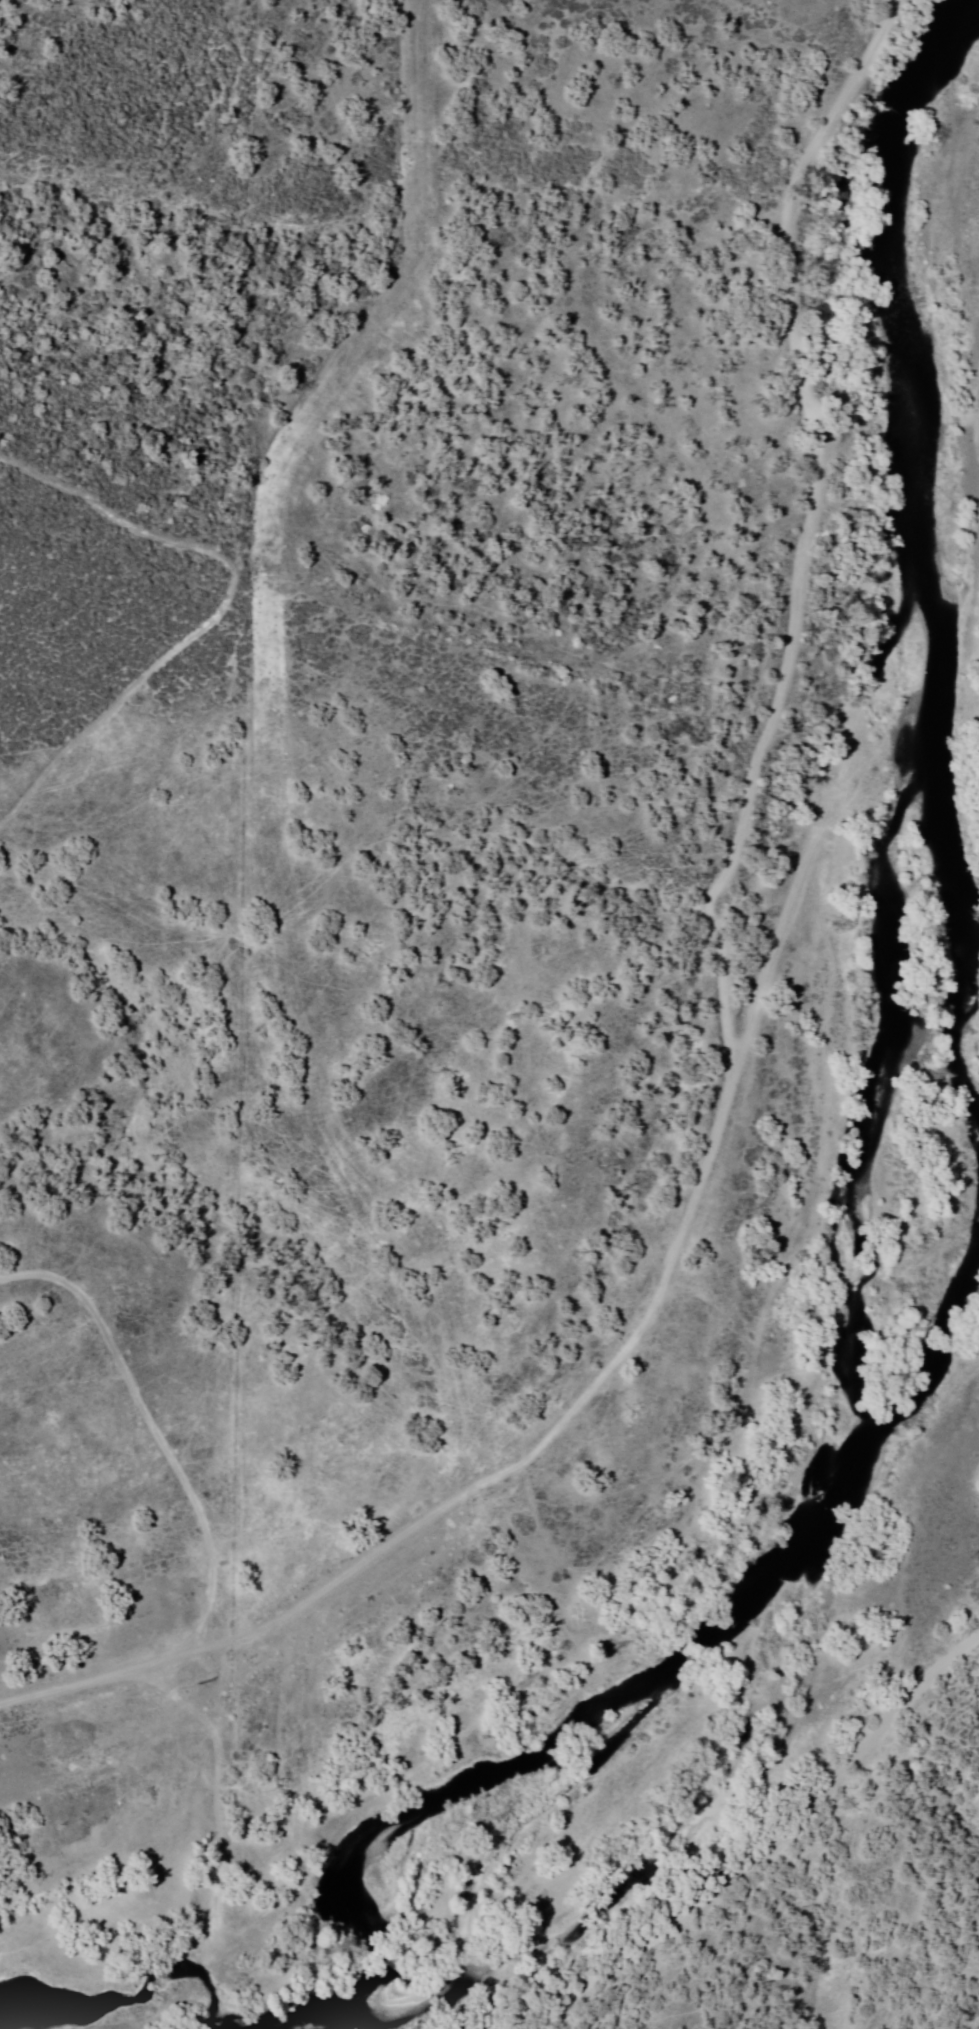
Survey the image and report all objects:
river: (917, 112)
river: (921, 676)
road: (271, 742)
road: (760, 746)
road: (779, 925)
river: (904, 1384)
road: (155, 1429)
river: (791, 1548)
road: (276, 1610)
river: (551, 1742)
road: (763, 1853)
river: (372, 1955)
river: (334, 2017)

